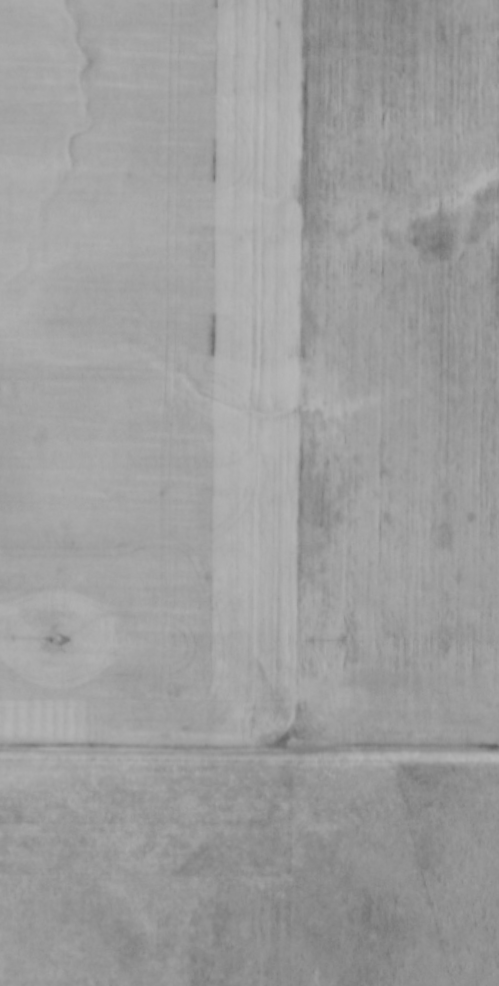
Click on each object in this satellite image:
road: (249, 739)

